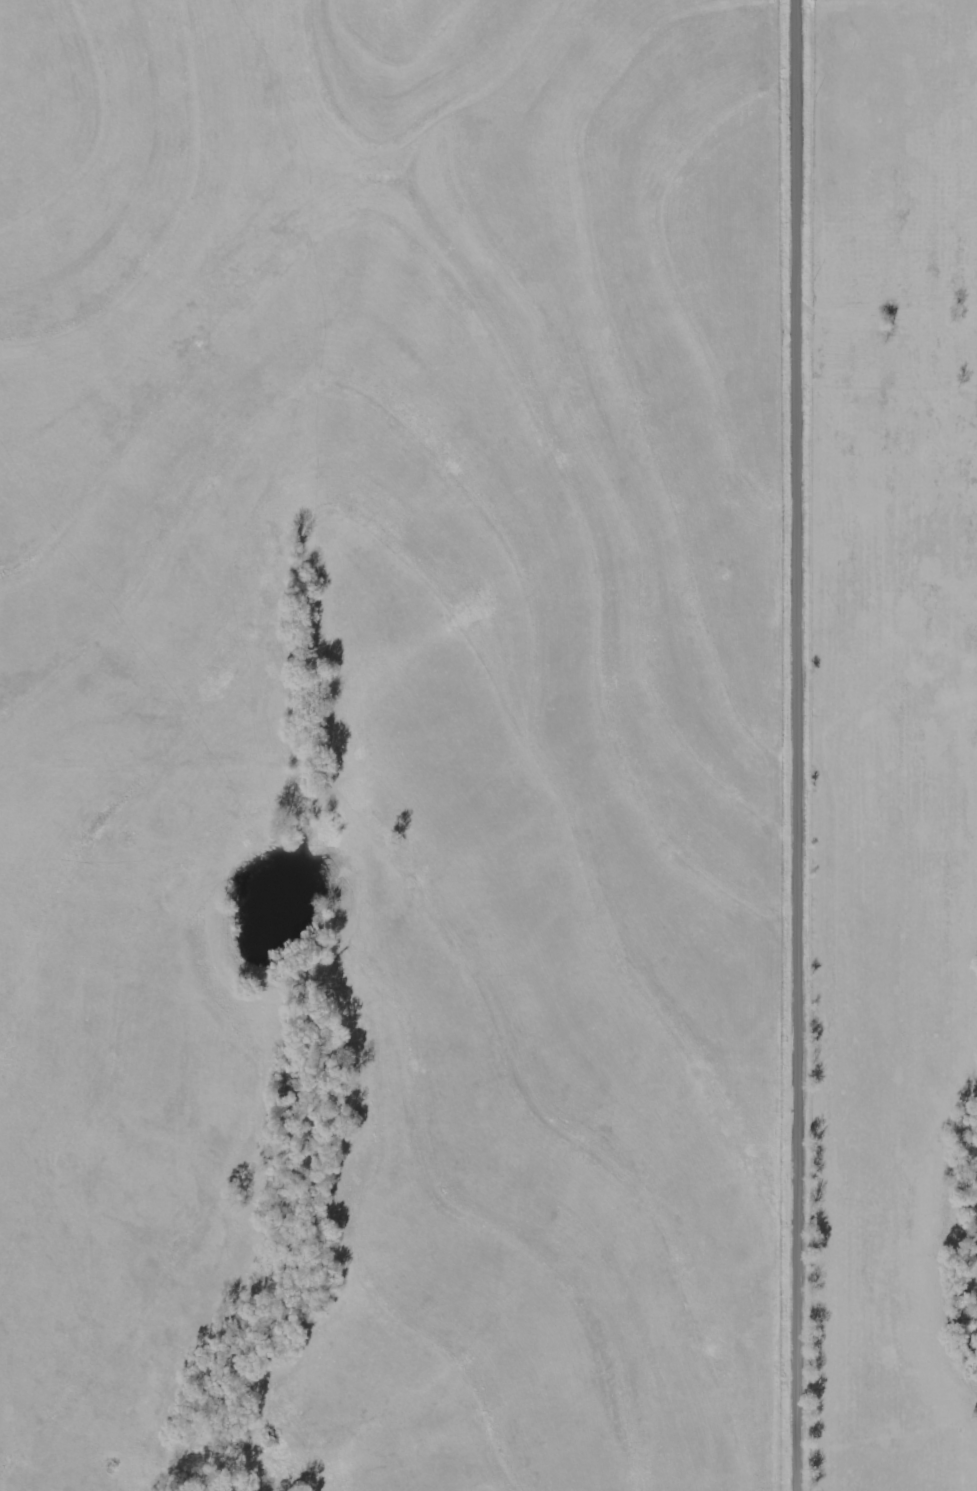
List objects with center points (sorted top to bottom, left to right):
road: (805, 745)

